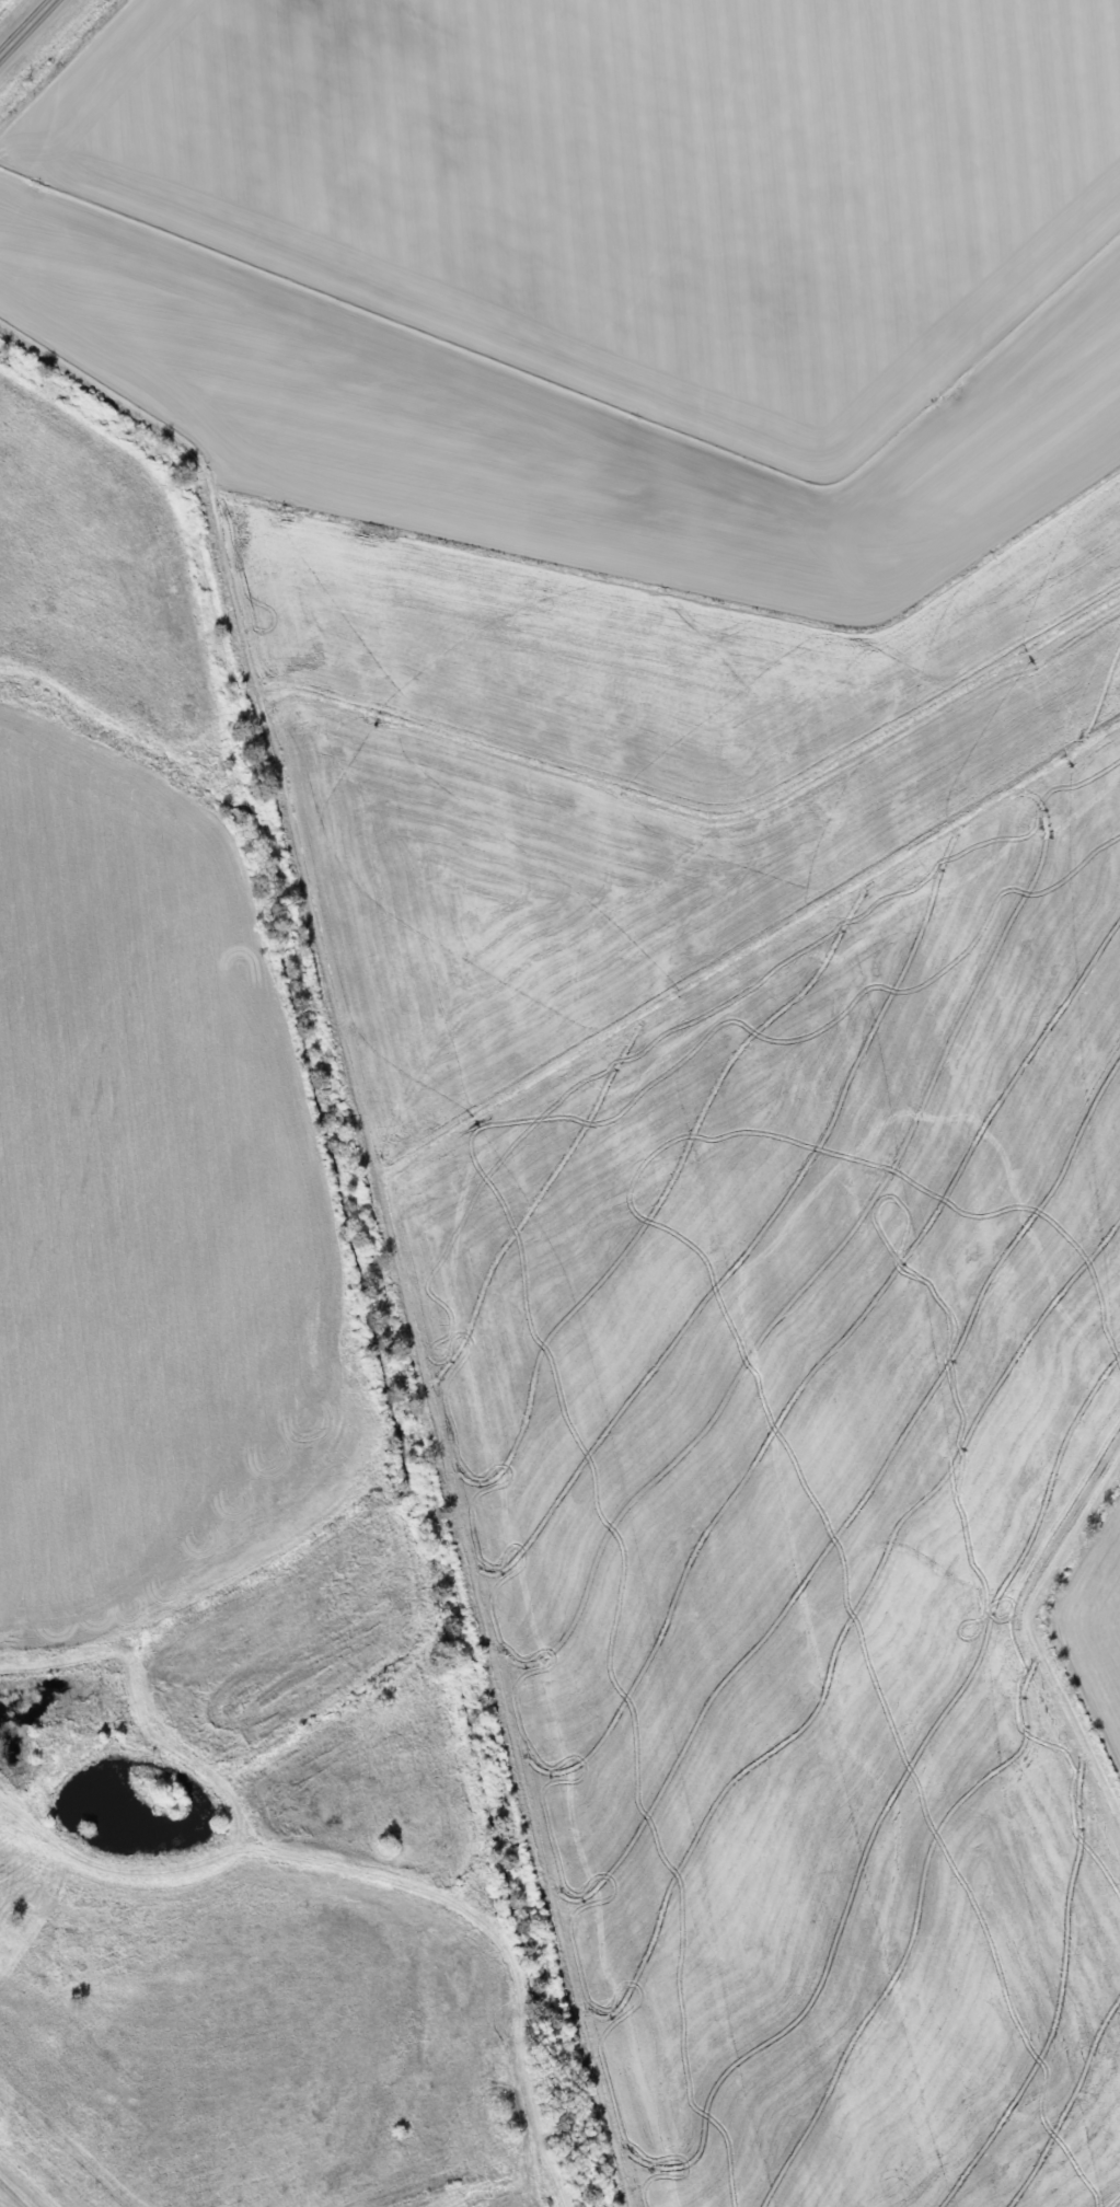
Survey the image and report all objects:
road: (32, 33)

